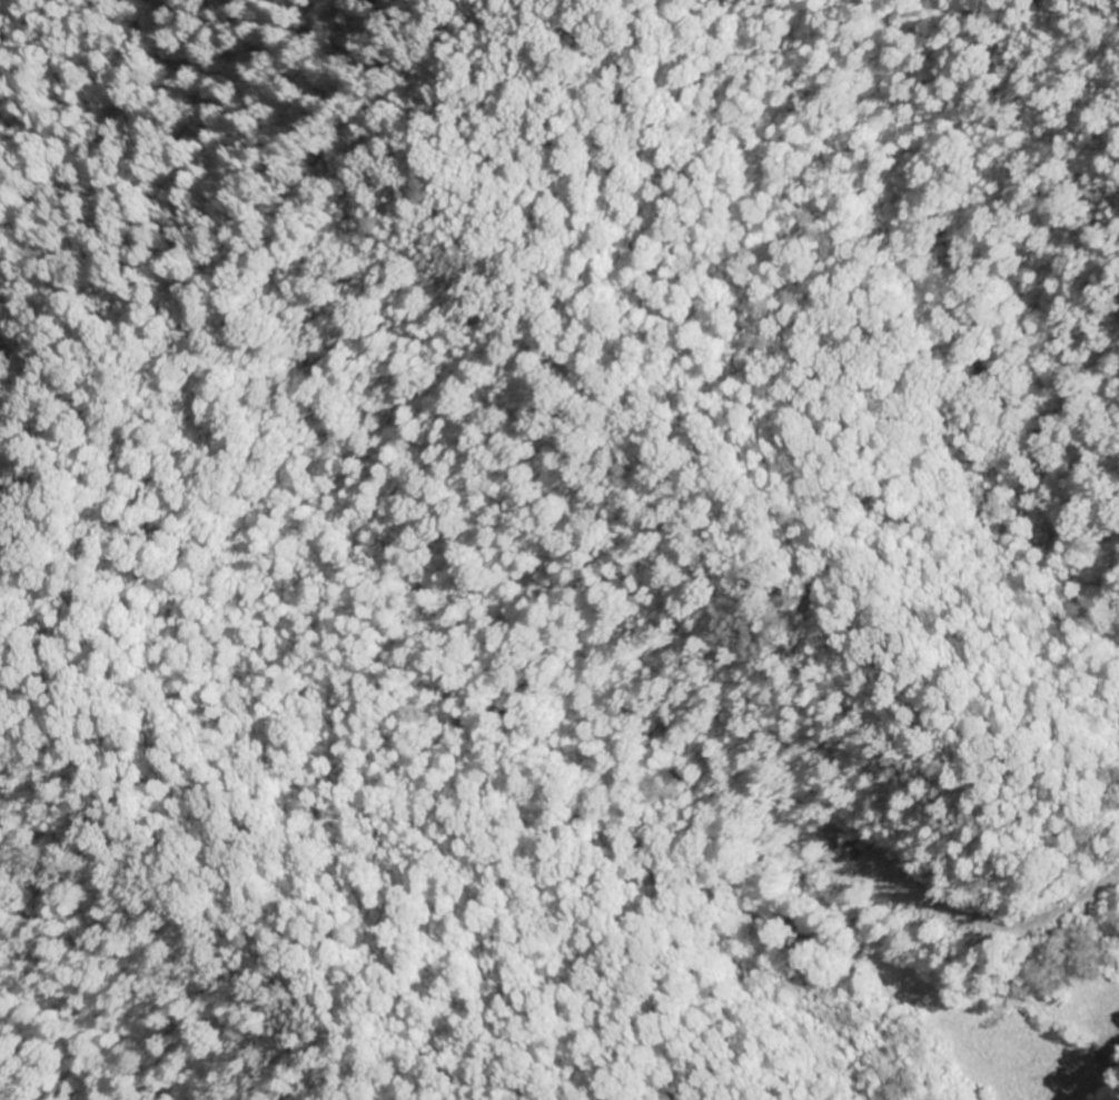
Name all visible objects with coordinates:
building: (835, 845)

